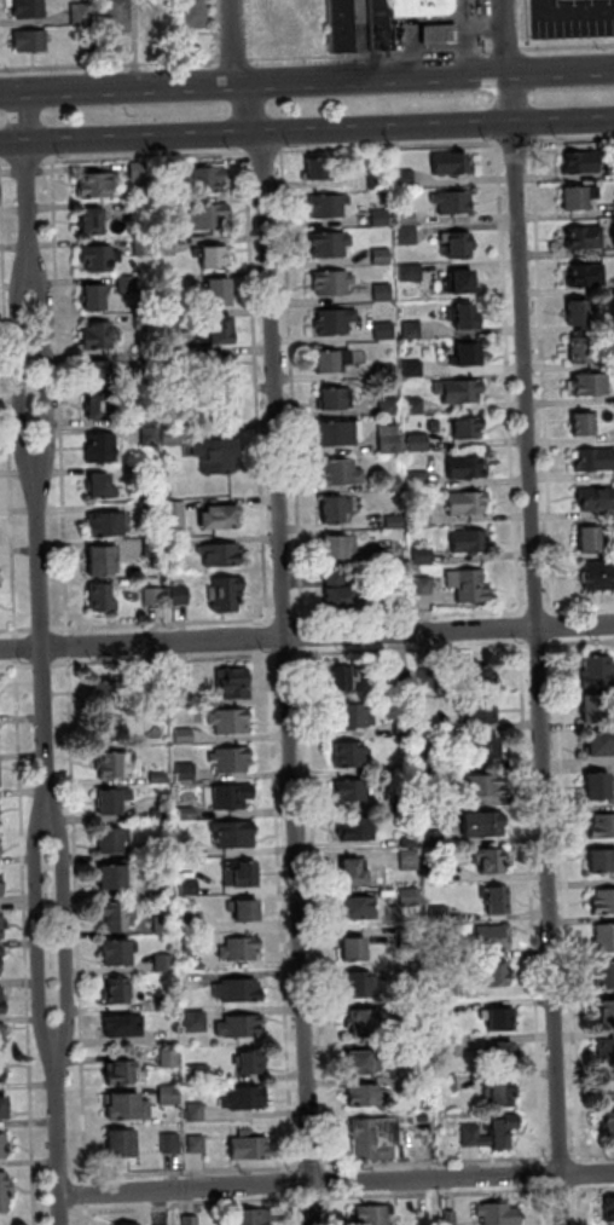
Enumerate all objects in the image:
building: (27, 7)
building: (419, 7)
building: (79, 12)
building: (115, 15)
building: (191, 15)
parking lot: (573, 18)
building: (377, 24)
road: (488, 24)
road: (526, 24)
building: (338, 25)
road: (566, 27)
road: (215, 29)
road: (249, 29)
building: (441, 33)
building: (29, 40)
road: (567, 46)
road: (508, 50)
road: (371, 53)
road: (233, 59)
road: (109, 63)
street lamp: (10, 73)
road: (306, 81)
road: (564, 121)
road: (256, 131)
road: (570, 139)
road: (515, 141)
road: (393, 146)
road: (266, 151)
road: (147, 155)
building: (583, 161)
road: (29, 162)
road: (5, 163)
building: (454, 163)
building: (169, 167)
building: (324, 167)
building: (141, 171)
building: (208, 178)
building: (380, 178)
building: (407, 178)
road: (30, 180)
building: (99, 184)
building: (580, 196)
building: (457, 201)
building: (169, 204)
building: (330, 204)
building: (144, 210)
building: (209, 215)
building: (382, 216)
building: (410, 218)
building: (93, 219)
building: (410, 235)
building: (587, 237)
building: (169, 244)
building: (332, 244)
building: (462, 244)
building: (146, 245)
building: (384, 255)
building: (102, 256)
building: (215, 256)
building: (413, 271)
building: (589, 275)
building: (465, 279)
building: (335, 282)
building: (169, 283)
building: (129, 284)
building: (221, 290)
building: (386, 291)
building: (95, 295)
building: (580, 312)
building: (469, 316)
building: (146, 320)
building: (337, 320)
building: (224, 328)
building: (415, 329)
building: (387, 330)
building: (99, 334)
building: (581, 349)
building: (471, 353)
building: (174, 357)
building: (146, 358)
building: (335, 359)
building: (214, 364)
building: (415, 368)
road: (47, 370)
building: (389, 370)
road: (23, 371)
building: (97, 371)
road: (546, 377)
road: (510, 380)
building: (593, 383)
road: (296, 388)
road: (260, 389)
building: (463, 391)
building: (175, 392)
road: (63, 398)
building: (336, 398)
road: (12, 399)
building: (220, 400)
building: (97, 404)
building: (417, 405)
building: (390, 406)
building: (150, 415)
building: (585, 423)
building: (436, 424)
building: (470, 426)
building: (341, 432)
building: (152, 435)
building: (173, 435)
building: (393, 438)
building: (421, 441)
building: (103, 447)
building: (219, 455)
building: (596, 460)
building: (469, 467)
building: (150, 470)
building: (344, 472)
building: (421, 479)
building: (394, 484)
building: (104, 485)
building: (597, 497)
building: (471, 503)
building: (338, 508)
building: (151, 509)
building: (176, 515)
building: (222, 515)
building: (423, 519)
building: (396, 521)
building: (108, 524)
building: (593, 538)
building: (470, 541)
building: (342, 545)
building: (156, 547)
building: (175, 547)
building: (222, 553)
building: (424, 555)
building: (386, 556)
building: (102, 559)
building: (599, 574)
building: (424, 584)
building: (471, 584)
building: (342, 591)
building: (228, 593)
building: (183, 594)
building: (102, 596)
building: (156, 596)
road: (580, 607)
road: (286, 608)
road: (539, 608)
road: (539, 612)
road: (413, 613)
road: (288, 618)
road: (166, 624)
road: (44, 628)
road: (522, 628)
road: (17, 629)
road: (558, 629)
road: (306, 636)
road: (307, 636)
road: (272, 637)
road: (586, 642)
road: (546, 643)
road: (45, 646)
road: (71, 646)
road: (18, 647)
road: (416, 649)
road: (289, 654)
road: (168, 660)
road: (45, 664)
road: (17, 665)
building: (598, 671)
building: (429, 676)
building: (342, 677)
building: (402, 677)
building: (483, 678)
building: (237, 683)
building: (185, 686)
building: (158, 688)
building: (109, 692)
building: (596, 707)
building: (482, 711)
building: (163, 715)
building: (354, 716)
building: (231, 720)
building: (405, 727)
building: (186, 735)
building: (599, 742)
building: (488, 747)
building: (351, 753)
building: (233, 759)
building: (433, 762)
building: (111, 764)
building: (187, 770)
building: (160, 778)
building: (597, 784)
building: (481, 785)
building: (353, 790)
building: (233, 796)
building: (434, 797)
building: (114, 799)
building: (410, 804)
building: (189, 813)
building: (161, 815)
building: (485, 824)
building: (601, 824)
building: (359, 828)
building: (236, 833)
building: (438, 838)
building: (115, 839)
building: (412, 842)
building: (163, 848)
building: (0, 849)
building: (190, 849)
building: (411, 855)
building: (598, 857)
building: (493, 861)
building: (357, 872)
building: (244, 874)
building: (115, 877)
building: (440, 877)
building: (0, 885)
building: (191, 886)
building: (166, 888)
building: (412, 896)
building: (500, 900)
road: (570, 900)
building: (602, 900)
road: (534, 902)
building: (361, 908)
building: (247, 909)
road: (319, 911)
road: (284, 912)
building: (441, 914)
building: (118, 915)
road: (79, 921)
building: (195, 921)
building: (0, 925)
building: (164, 925)
road: (66, 931)
road: (41, 932)
building: (603, 936)
building: (413, 937)
building: (494, 937)
road: (28, 942)
building: (242, 948)
building: (355, 949)
building: (117, 952)
building: (441, 954)
building: (0, 961)
building: (166, 963)
building: (193, 963)
building: (416, 970)
building: (498, 973)
building: (603, 973)
building: (365, 983)
building: (448, 987)
building: (120, 990)
building: (241, 990)
building: (1, 1001)
building: (168, 1002)
building: (444, 1009)
building: (418, 1010)
building: (607, 1012)
building: (502, 1019)
building: (197, 1022)
building: (366, 1023)
building: (122, 1025)
building: (241, 1027)
building: (1, 1036)
building: (170, 1036)
building: (418, 1047)
building: (607, 1051)
building: (506, 1053)
building: (170, 1058)
building: (253, 1061)
building: (363, 1063)
building: (2, 1071)
building: (123, 1073)
building: (199, 1074)
building: (448, 1082)
building: (421, 1084)
building: (613, 1086)
building: (502, 1093)
building: (170, 1094)
building: (366, 1096)
building: (247, 1098)
building: (4, 1106)
building: (128, 1106)
building: (197, 1113)
building: (608, 1123)
building: (494, 1132)
road: (60, 1134)
building: (377, 1138)
building: (124, 1143)
building: (173, 1144)
building: (198, 1144)
building: (4, 1145)
building: (250, 1145)
road: (597, 1156)
road: (568, 1157)
road: (439, 1162)
road: (313, 1168)
road: (581, 1169)
road: (195, 1172)
road: (546, 1174)
road: (337, 1183)
road: (331, 1184)
road: (297, 1186)
road: (595, 1188)
road: (566, 1189)
building: (4, 1191)
road: (500, 1191)
road: (436, 1195)
road: (376, 1196)
road: (88, 1197)
road: (319, 1198)
road: (583, 1203)
road: (192, 1204)
road: (546, 1204)
road: (331, 1209)
building: (609, 1209)
road: (297, 1212)
building: (376, 1214)
building: (499, 1214)
building: (251, 1217)
building: (425, 1218)
building: (451, 1218)
building: (191, 1220)
building: (129, 1224)

